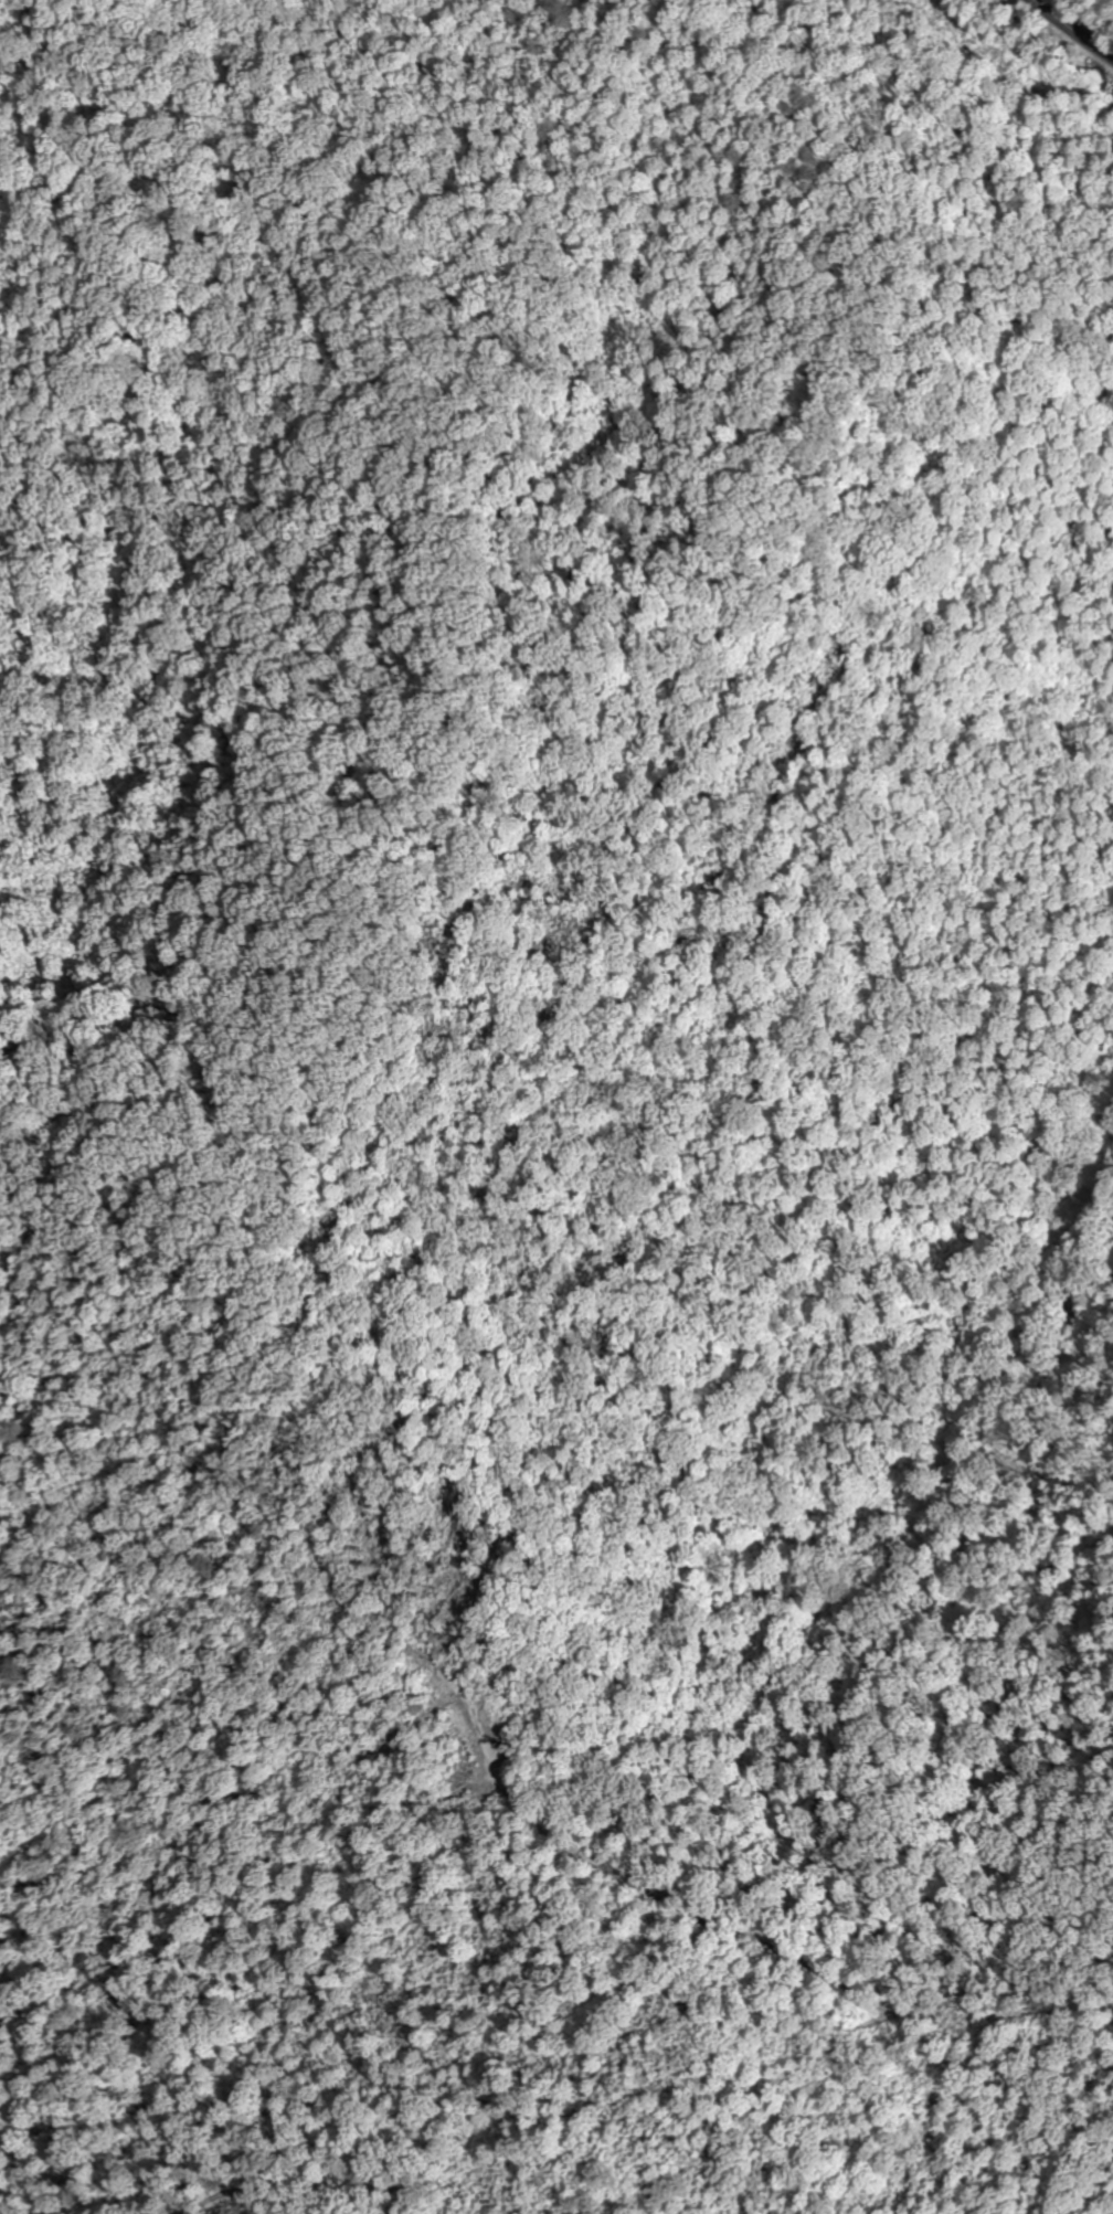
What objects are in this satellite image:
road: (1073, 30)

